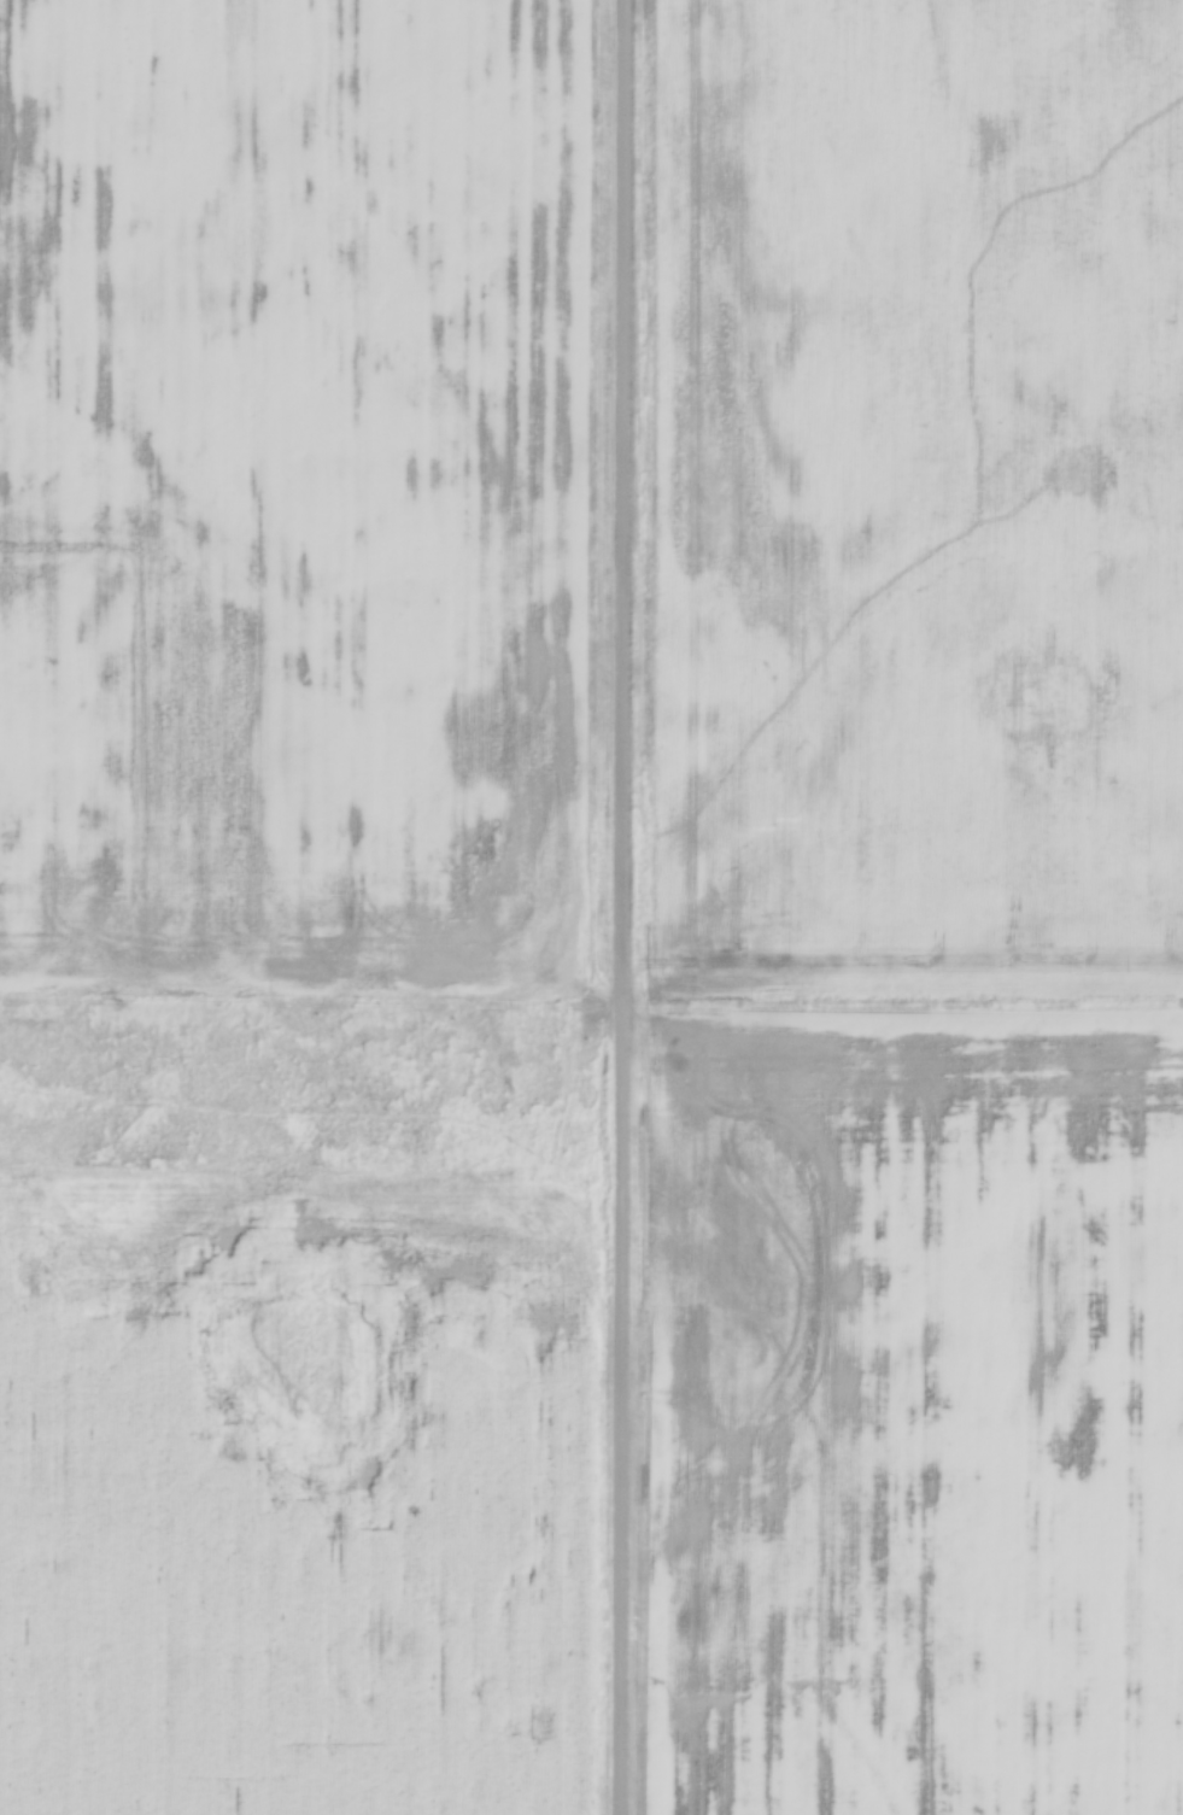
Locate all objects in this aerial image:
road: (621, 907)

